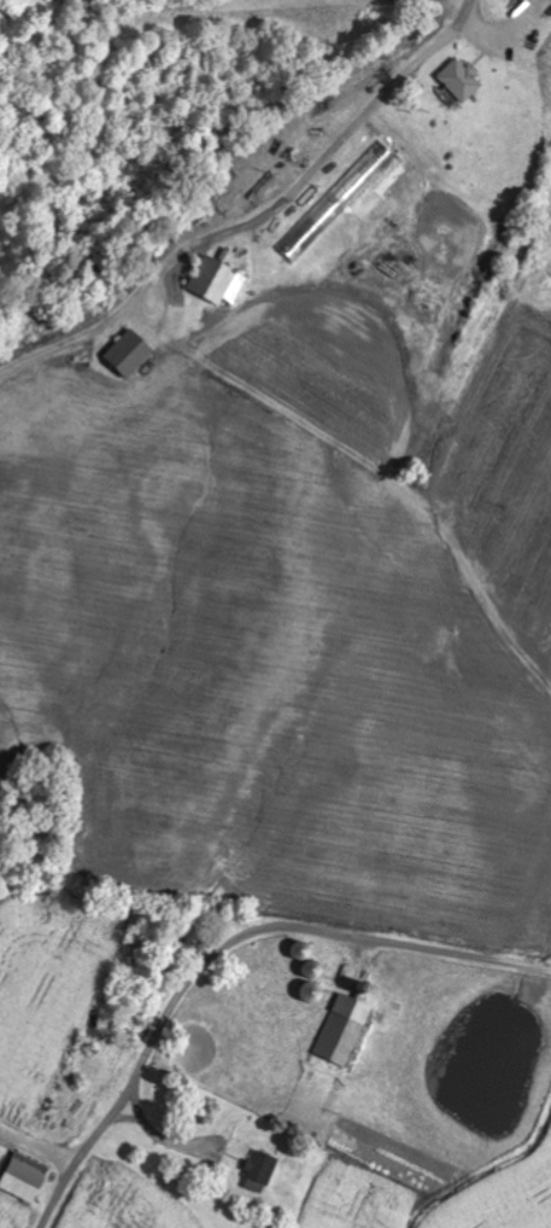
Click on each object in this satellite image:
road: (468, 0)
building: (461, 80)
building: (342, 202)
building: (217, 281)
building: (128, 355)
road: (227, 951)
building: (339, 1032)
building: (231, 1113)
road: (39, 1148)
building: (254, 1174)
building: (18, 1178)

